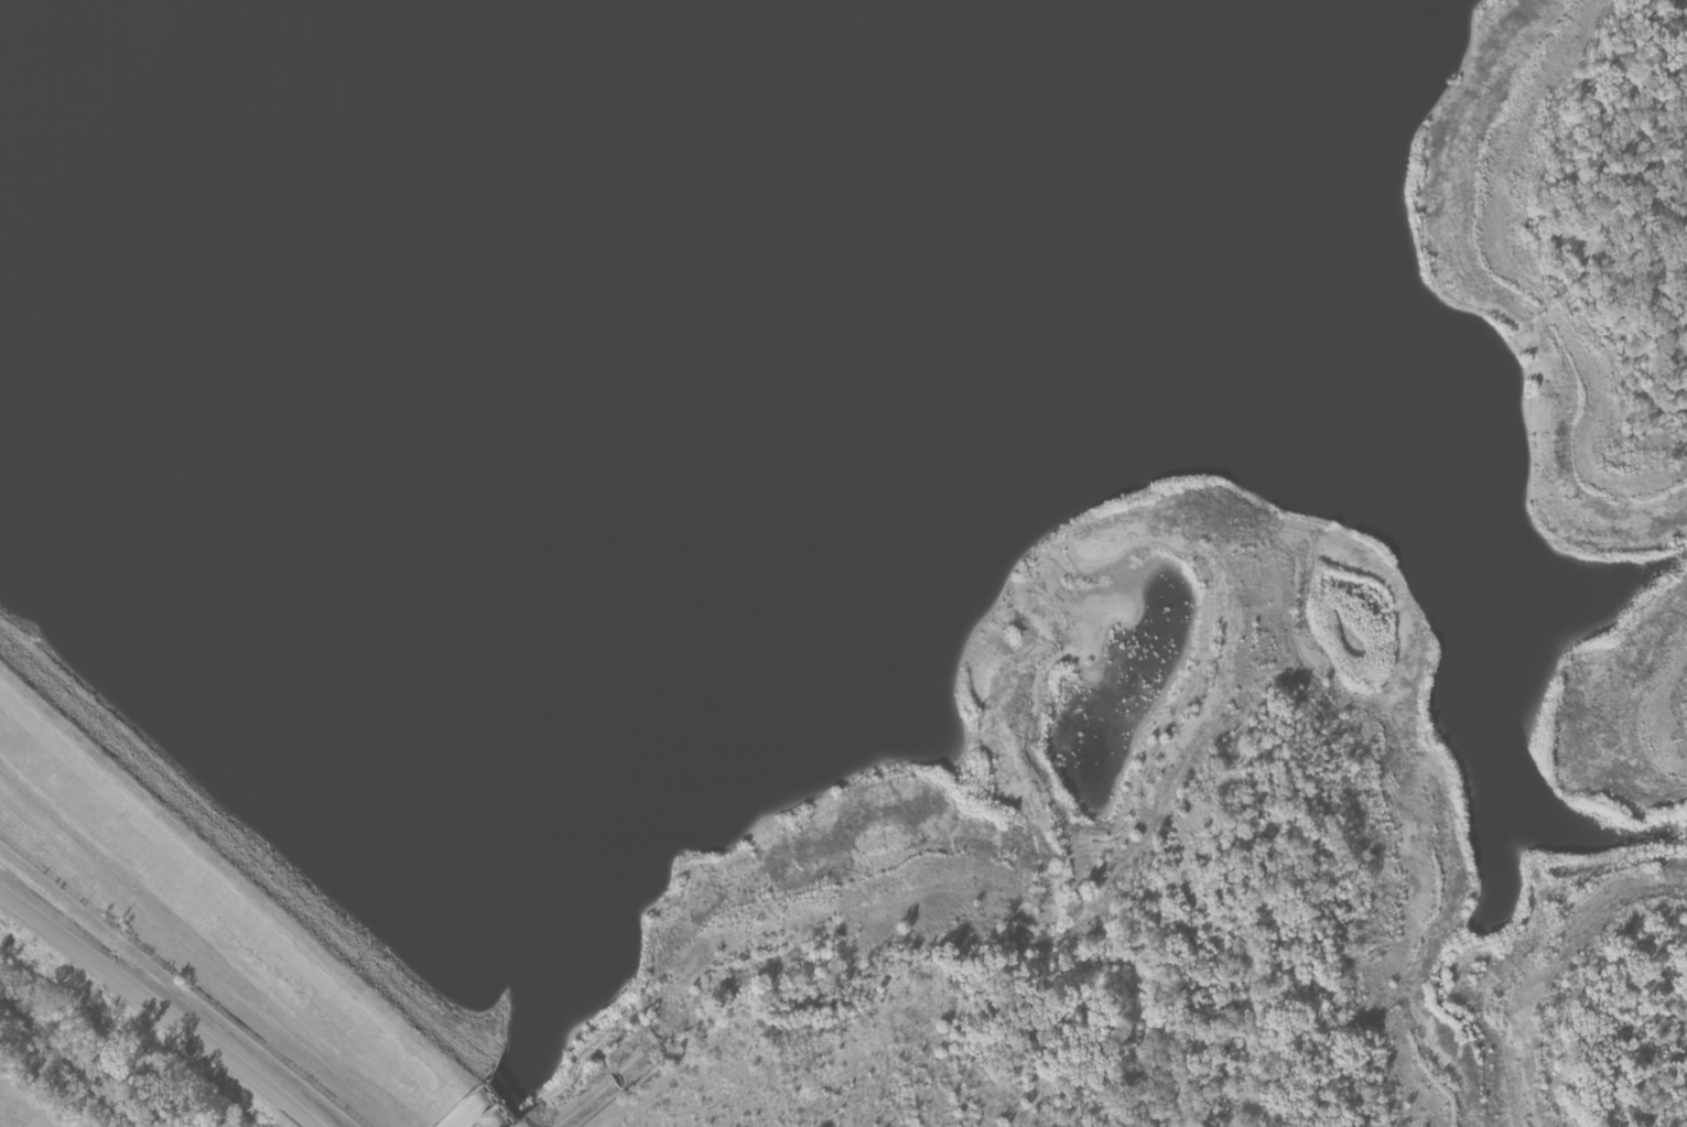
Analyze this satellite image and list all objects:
road: (153, 1008)
road: (1207, 1030)

